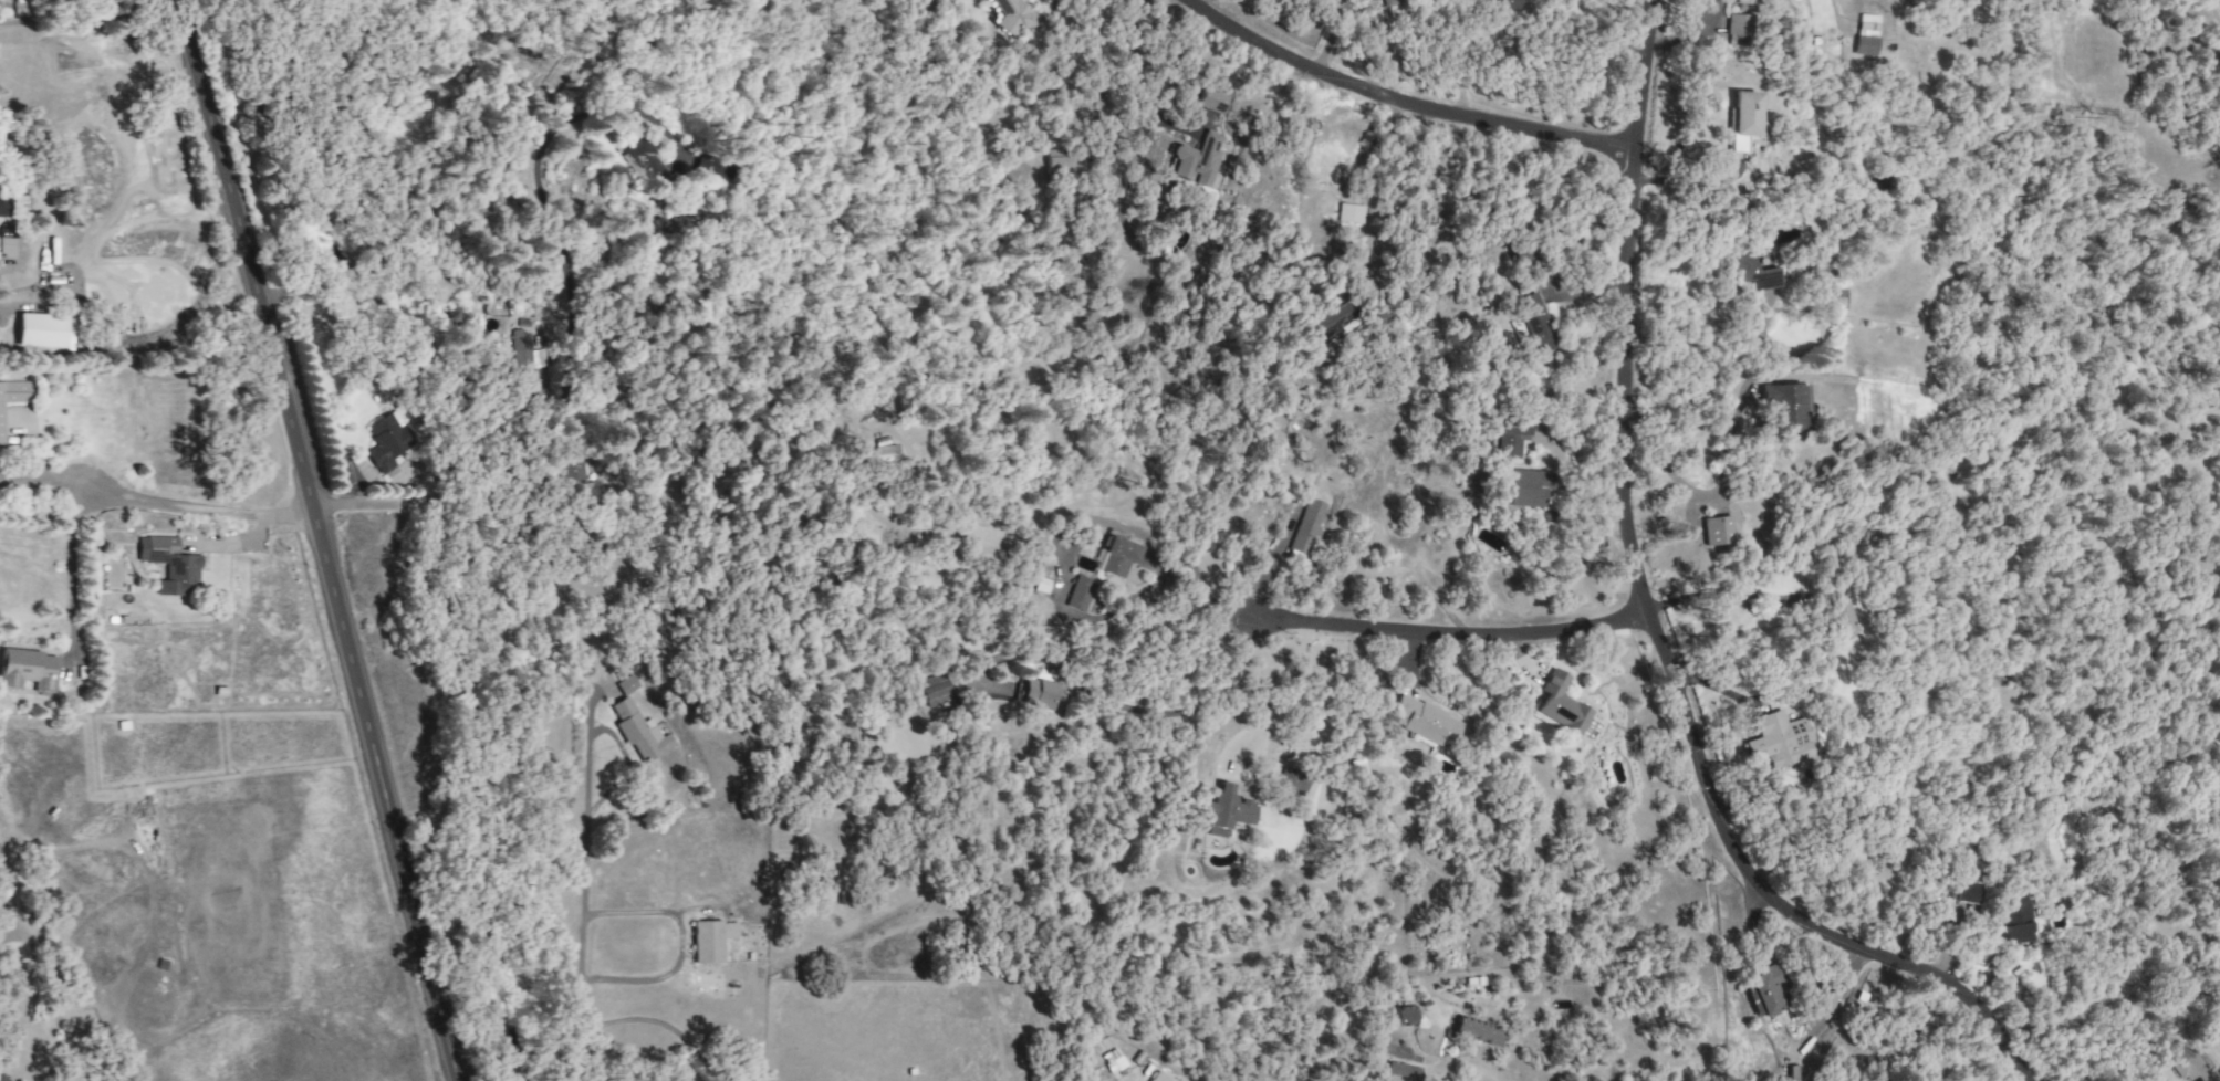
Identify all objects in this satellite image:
building: (1745, 1)
building: (1017, 17)
building: (1739, 30)
building: (1865, 34)
road: (1138, 67)
building: (1211, 101)
road: (1408, 107)
building: (1739, 118)
building: (1197, 159)
building: (1057, 161)
building: (636, 168)
building: (702, 168)
building: (3, 206)
building: (1348, 213)
road: (1377, 217)
building: (6, 243)
building: (1747, 272)
road: (37, 292)
building: (1322, 321)
building: (1534, 323)
building: (40, 330)
road: (569, 390)
building: (13, 396)
building: (1783, 407)
building: (1510, 439)
building: (388, 441)
building: (874, 452)
building: (584, 473)
road: (43, 482)
building: (1528, 487)
road: (1702, 504)
road: (201, 510)
building: (1305, 527)
building: (1716, 531)
road: (323, 540)
building: (1111, 557)
building: (168, 564)
road: (67, 568)
road: (1202, 589)
building: (1078, 594)
road: (1649, 622)
road: (1453, 632)
building: (27, 670)
building: (628, 684)
building: (932, 690)
building: (1039, 693)
road: (1288, 694)
building: (1561, 704)
road: (1187, 709)
building: (1426, 722)
building: (638, 731)
building: (1774, 739)
building: (1292, 781)
building: (1223, 810)
road: (4, 841)
building: (1967, 889)
building: (2011, 919)
road: (15, 932)
building: (710, 940)
road: (580, 941)
road: (679, 946)
road: (50, 968)
building: (1763, 991)
building: (1823, 998)
building: (1403, 1016)
road: (658, 1021)
building: (1476, 1030)
road: (1349, 1047)
building: (1112, 1060)
building: (2190, 1067)
building: (1400, 1071)
building: (1792, 1073)
building: (1164, 1075)
building: (2218, 1080)

